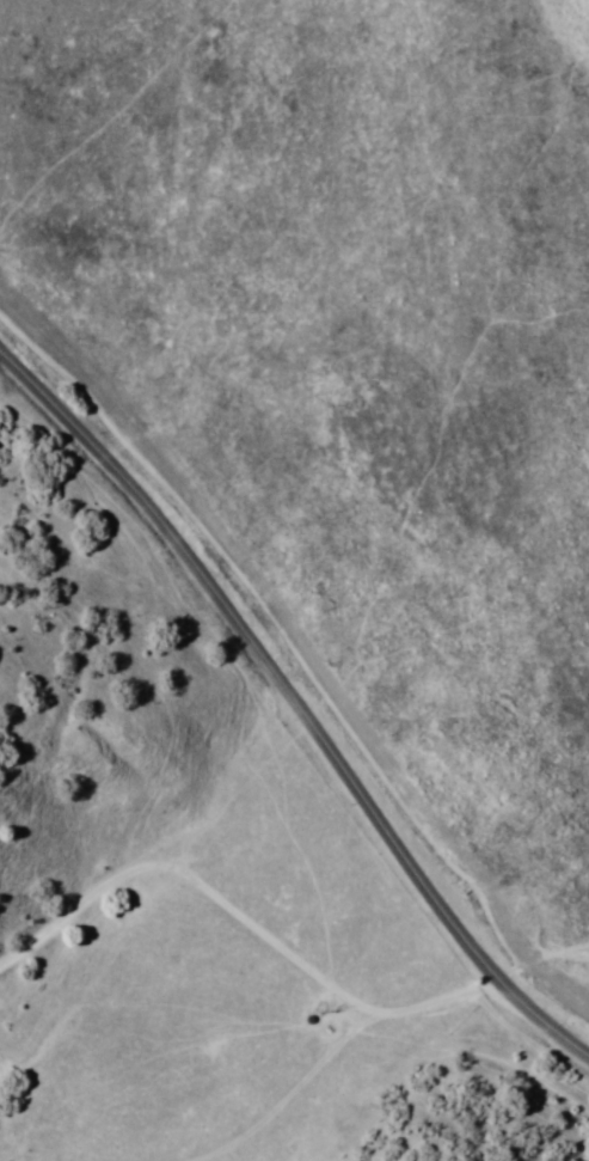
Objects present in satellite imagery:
crop: (355, 369)
road: (296, 698)
road: (240, 921)

